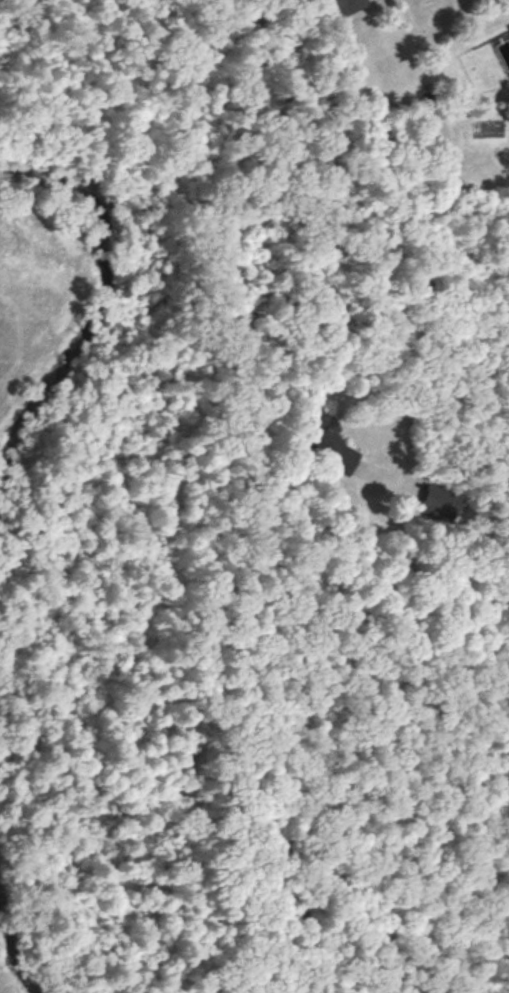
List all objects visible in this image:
building: (343, 7)
building: (508, 26)
building: (324, 440)

